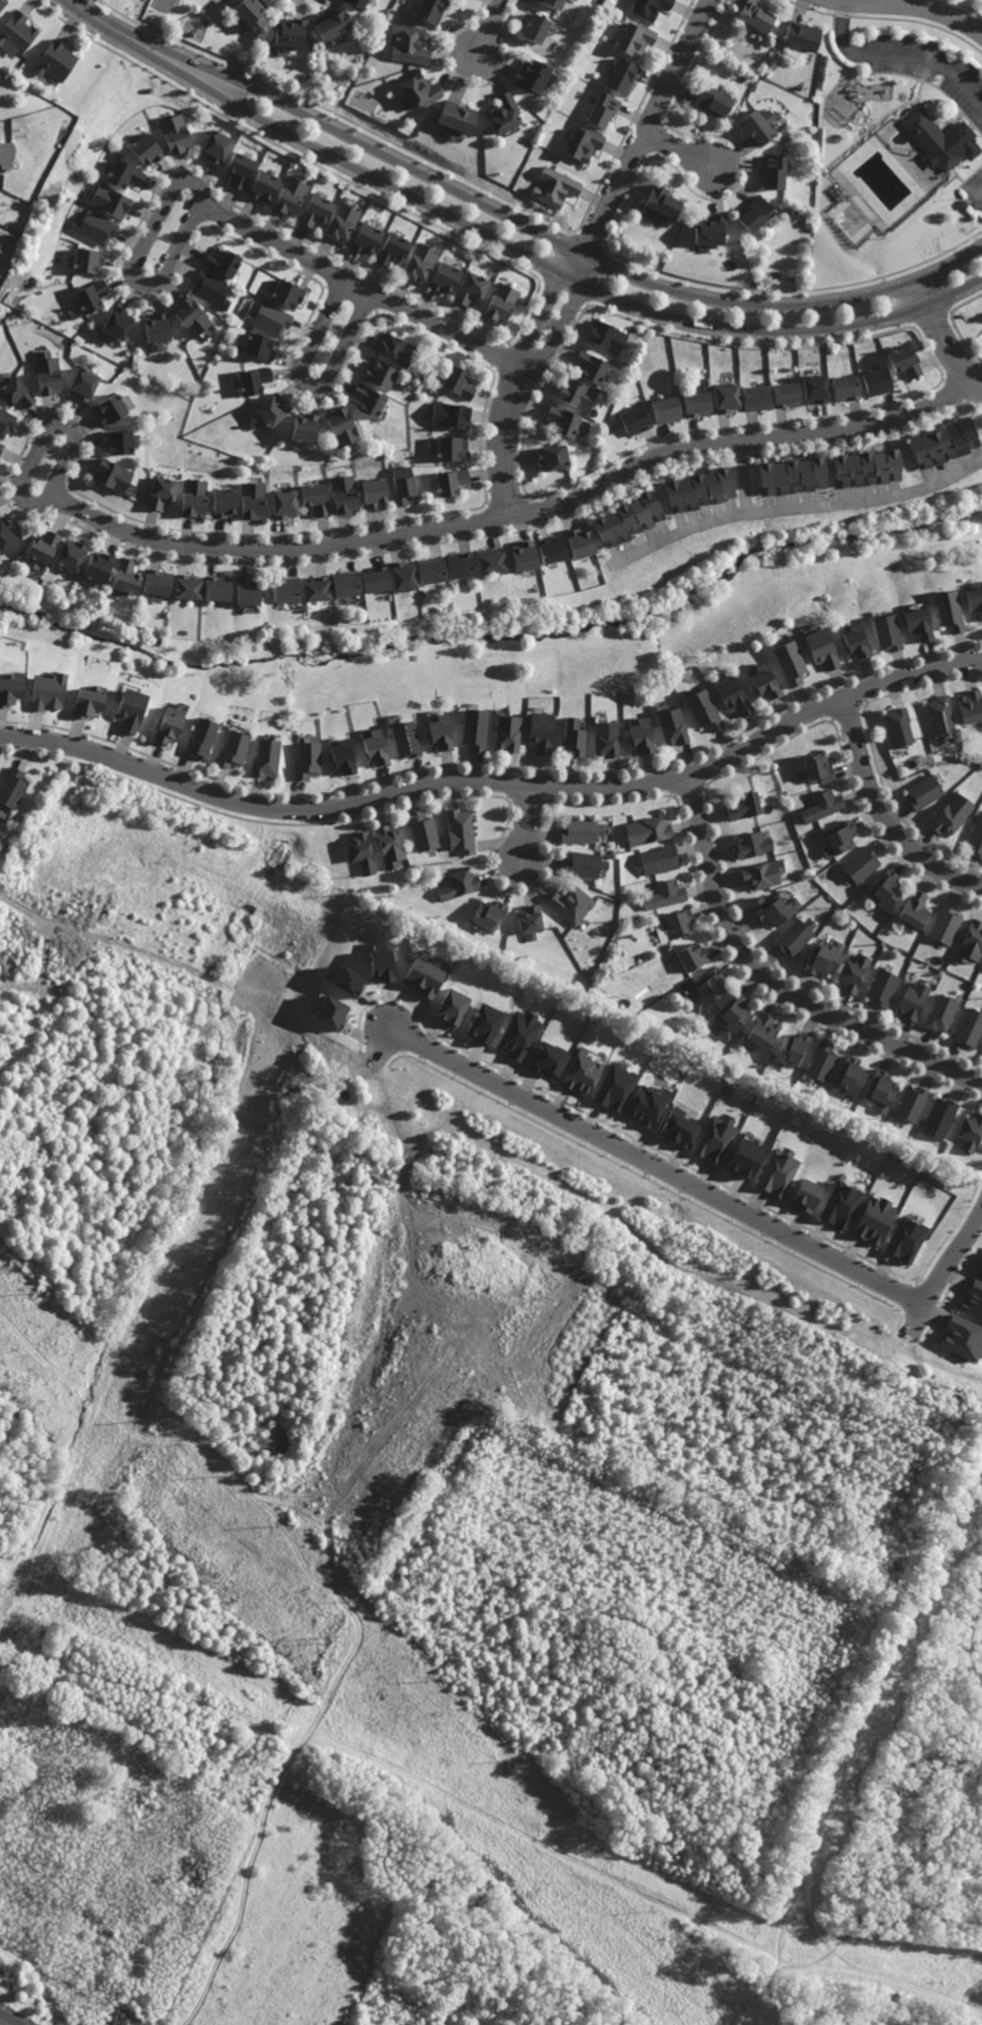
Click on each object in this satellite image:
building: (359, 3)
building: (554, 3)
building: (2, 4)
road: (920, 6)
building: (651, 8)
building: (432, 10)
building: (252, 14)
building: (757, 15)
road: (103, 19)
building: (332, 23)
road: (491, 27)
building: (536, 28)
building: (18, 32)
building: (291, 32)
building: (802, 36)
building: (759, 38)
building: (637, 39)
building: (410, 44)
road: (898, 55)
building: (56, 60)
parking lot: (928, 66)
building: (532, 75)
building: (624, 77)
road: (931, 82)
building: (420, 90)
building: (576, 90)
building: (714, 102)
building: (605, 109)
building: (504, 113)
building: (457, 116)
road: (952, 120)
road: (880, 121)
building: (761, 125)
building: (179, 134)
building: (941, 139)
building: (585, 144)
building: (218, 146)
building: (150, 150)
road: (681, 150)
building: (7, 154)
building: (242, 170)
building: (775, 171)
building: (126, 175)
road: (965, 180)
building: (264, 186)
building: (557, 187)
parking lot: (975, 188)
building: (291, 196)
road: (980, 197)
building: (112, 201)
power tower: (41, 203)
building: (664, 205)
building: (317, 209)
building: (755, 213)
building: (343, 221)
building: (96, 227)
building: (710, 230)
road: (548, 235)
building: (368, 239)
building: (395, 249)
road: (585, 251)
building: (89, 260)
road: (135, 260)
building: (223, 263)
building: (421, 263)
road: (540, 263)
building: (446, 278)
road: (363, 286)
building: (473, 288)
building: (212, 289)
building: (290, 294)
building: (93, 295)
building: (503, 302)
building: (192, 316)
building: (271, 319)
building: (119, 323)
building: (158, 328)
building: (607, 336)
parking lot: (981, 338)
road: (945, 340)
building: (261, 347)
building: (396, 350)
building: (905, 361)
building: (591, 366)
road: (975, 369)
building: (49, 373)
building: (380, 375)
building: (255, 380)
building: (877, 381)
building: (460, 382)
building: (85, 383)
road: (309, 383)
building: (816, 388)
building: (847, 388)
building: (17, 393)
building: (577, 394)
building: (787, 394)
building: (727, 397)
building: (757, 397)
building: (370, 401)
building: (698, 403)
building: (112, 409)
building: (667, 409)
building: (273, 410)
building: (452, 415)
building: (636, 419)
building: (6, 421)
building: (564, 421)
building: (342, 426)
building: (306, 428)
road: (49, 429)
building: (120, 442)
building: (943, 443)
building: (1, 446)
building: (453, 448)
building: (554, 457)
building: (866, 467)
building: (114, 475)
building: (792, 475)
road: (742, 476)
building: (452, 482)
building: (404, 485)
building: (700, 489)
building: (163, 492)
building: (376, 493)
building: (345, 494)
building: (197, 497)
building: (317, 498)
building: (255, 499)
building: (226, 502)
building: (285, 503)
road: (798, 507)
road: (517, 515)
building: (629, 518)
building: (6, 534)
building: (580, 542)
building: (42, 548)
building: (552, 549)
building: (72, 554)
building: (524, 555)
building: (490, 560)
building: (461, 565)
building: (99, 566)
building: (432, 569)
building: (402, 575)
building: (127, 576)
building: (376, 579)
building: (158, 582)
building: (345, 583)
building: (187, 586)
building: (217, 587)
building: (316, 588)
building: (285, 589)
building: (247, 590)
building: (973, 597)
building: (946, 608)
building: (915, 620)
building: (884, 630)
building: (852, 640)
building: (823, 646)
building: (791, 660)
building: (765, 681)
building: (10, 689)
building: (47, 692)
building: (734, 694)
building: (92, 699)
building: (970, 704)
building: (131, 709)
building: (704, 709)
building: (939, 713)
building: (169, 725)
building: (672, 726)
building: (897, 726)
building: (472, 728)
building: (539, 730)
building: (439, 732)
building: (506, 733)
building: (572, 736)
building: (641, 736)
building: (200, 737)
building: (405, 738)
building: (605, 738)
building: (374, 747)
building: (231, 748)
building: (341, 756)
building: (265, 757)
building: (306, 759)
building: (821, 767)
road: (496, 786)
building: (13, 787)
building: (924, 791)
building: (745, 805)
building: (825, 805)
building: (951, 814)
road: (886, 817)
road: (526, 826)
building: (460, 830)
building: (582, 830)
building: (647, 830)
building: (424, 832)
building: (841, 839)
building: (975, 839)
building: (390, 845)
building: (754, 845)
building: (361, 851)
building: (659, 860)
building: (864, 864)
building: (586, 865)
building: (764, 874)
building: (460, 885)
building: (888, 890)
building: (664, 895)
building: (572, 902)
building: (775, 909)
building: (916, 909)
building: (489, 916)
building: (531, 921)
building: (677, 924)
building: (945, 925)
building: (797, 937)
building: (970, 943)
building: (693, 956)
building: (825, 958)
building: (381, 963)
building: (855, 974)
building: (424, 978)
building: (347, 981)
road: (775, 986)
building: (708, 988)
building: (884, 988)
building: (915, 1002)
road: (41, 1007)
building: (452, 1007)
building: (331, 1013)
building: (733, 1015)
building: (943, 1015)
building: (484, 1024)
building: (969, 1028)
building: (764, 1032)
building: (519, 1035)
building: (794, 1051)
building: (548, 1060)
building: (823, 1063)
building: (581, 1073)
building: (852, 1078)
building: (615, 1087)
building: (883, 1092)
building: (914, 1105)
building: (646, 1106)
building: (942, 1120)
building: (678, 1130)
building: (972, 1134)
building: (715, 1139)
building: (745, 1158)
road: (648, 1162)
building: (778, 1172)
building: (806, 1195)
building: (841, 1205)
building: (874, 1220)
building: (905, 1239)
road: (944, 1265)
building: (980, 1271)
building: (972, 1300)
building: (962, 1338)
road: (143, 1433)
road: (329, 1545)
power tower: (330, 1641)
road: (880, 1711)
road: (475, 1810)
park: (894, 1829)
road: (876, 1866)
road: (443, 1873)
road: (881, 1892)
road: (542, 1905)
road: (783, 1910)
road: (905, 1949)
road: (753, 2002)
road: (8, 2019)

